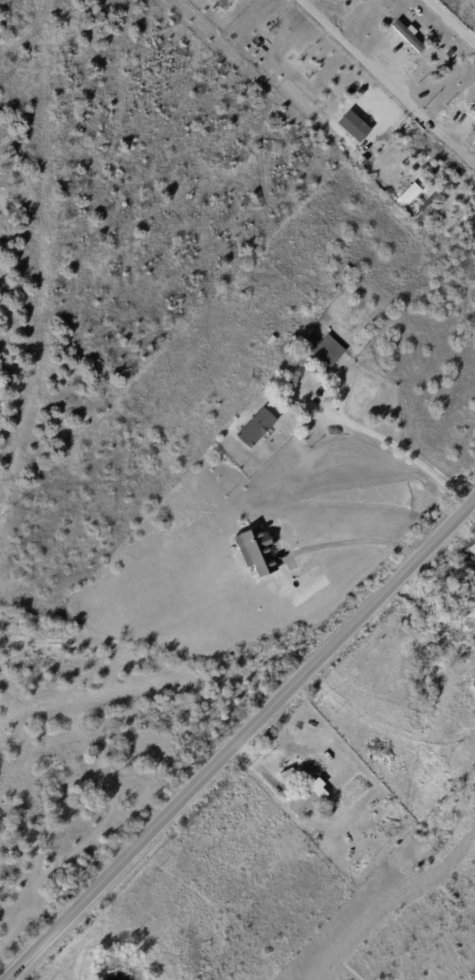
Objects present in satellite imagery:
road: (455, 18)
building: (411, 36)
road: (387, 84)
building: (473, 113)
building: (358, 125)
building: (411, 195)
building: (271, 341)
building: (284, 352)
building: (319, 352)
building: (257, 428)
road: (408, 451)
road: (352, 543)
building: (257, 551)
building: (474, 687)
road: (240, 738)
building: (304, 804)
building: (181, 959)

